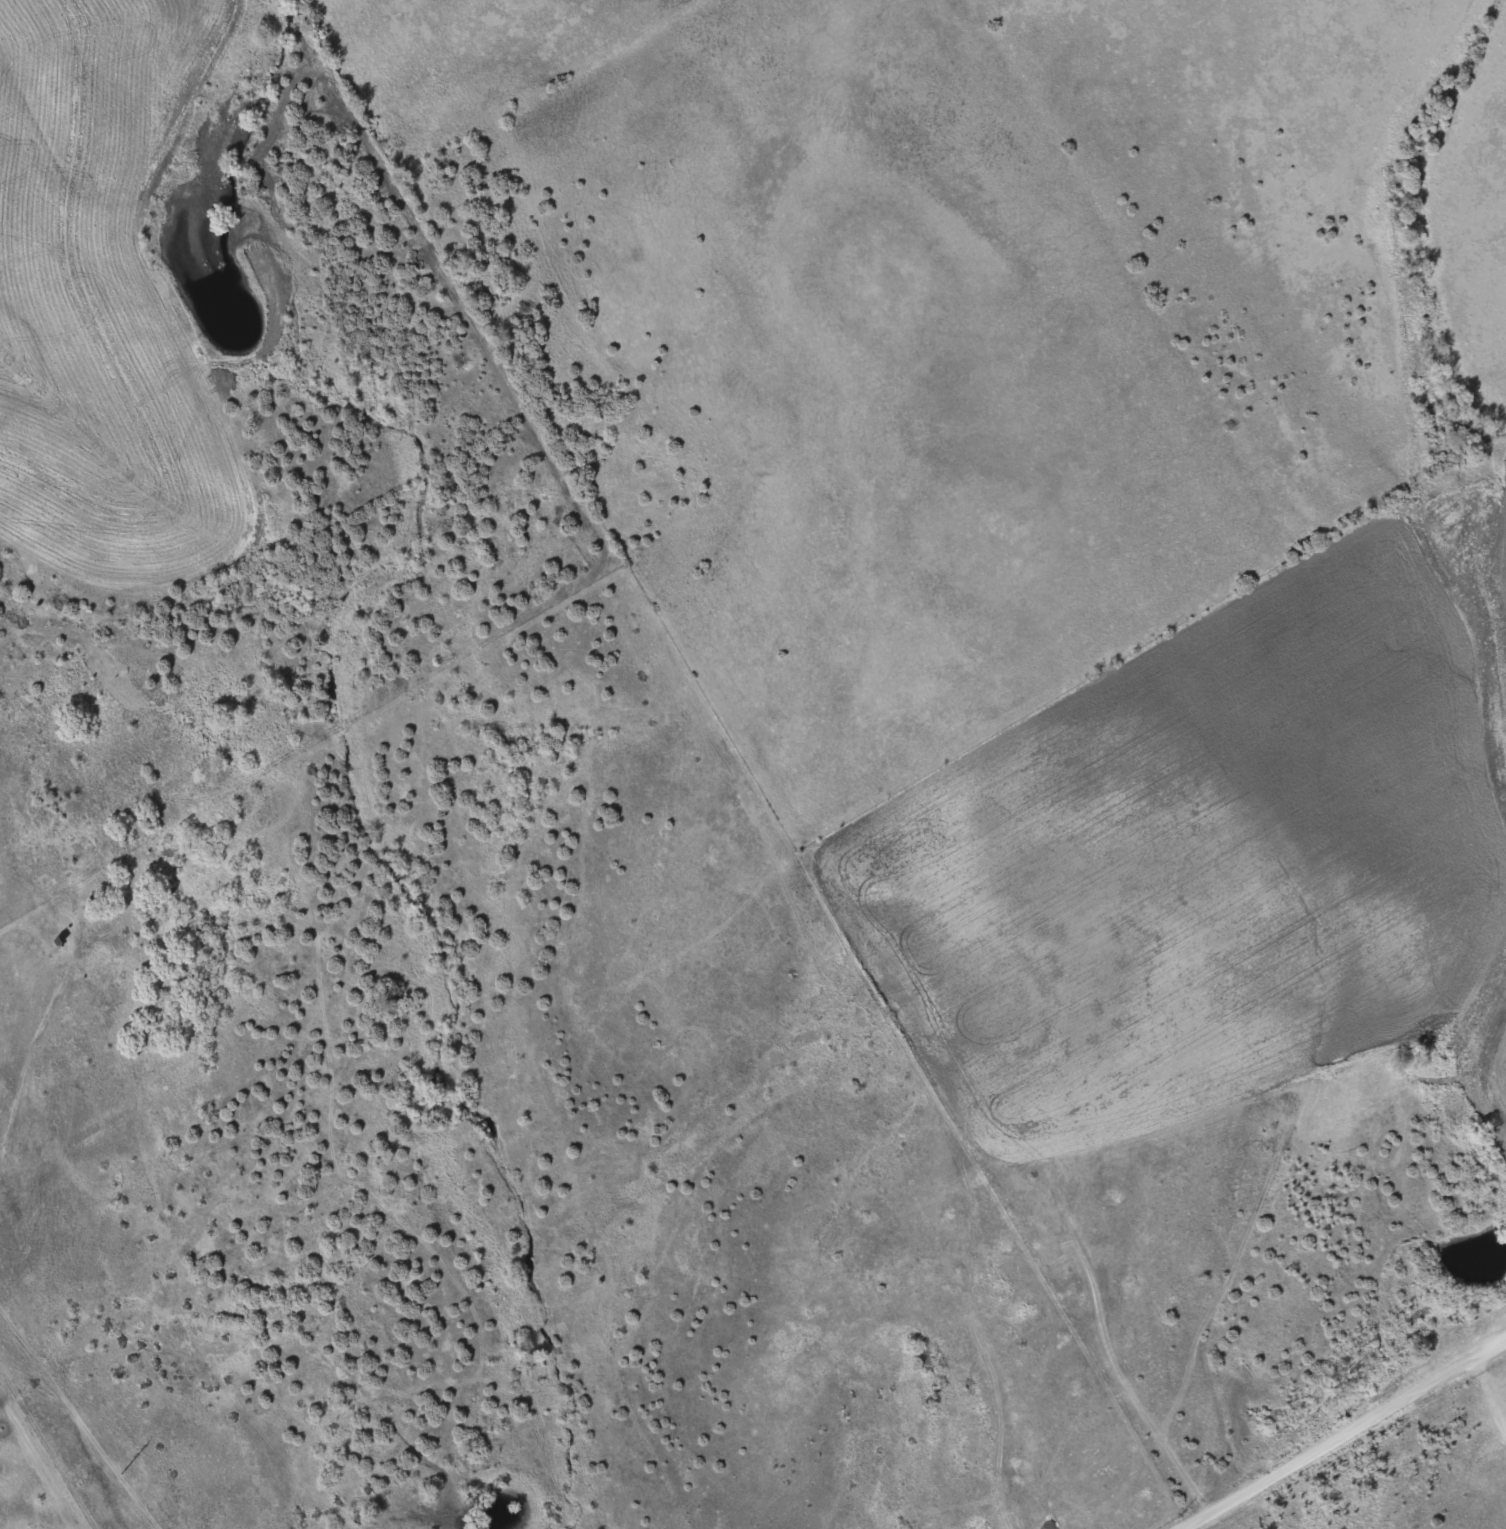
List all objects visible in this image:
road: (1475, 1410)
road: (1348, 1437)

